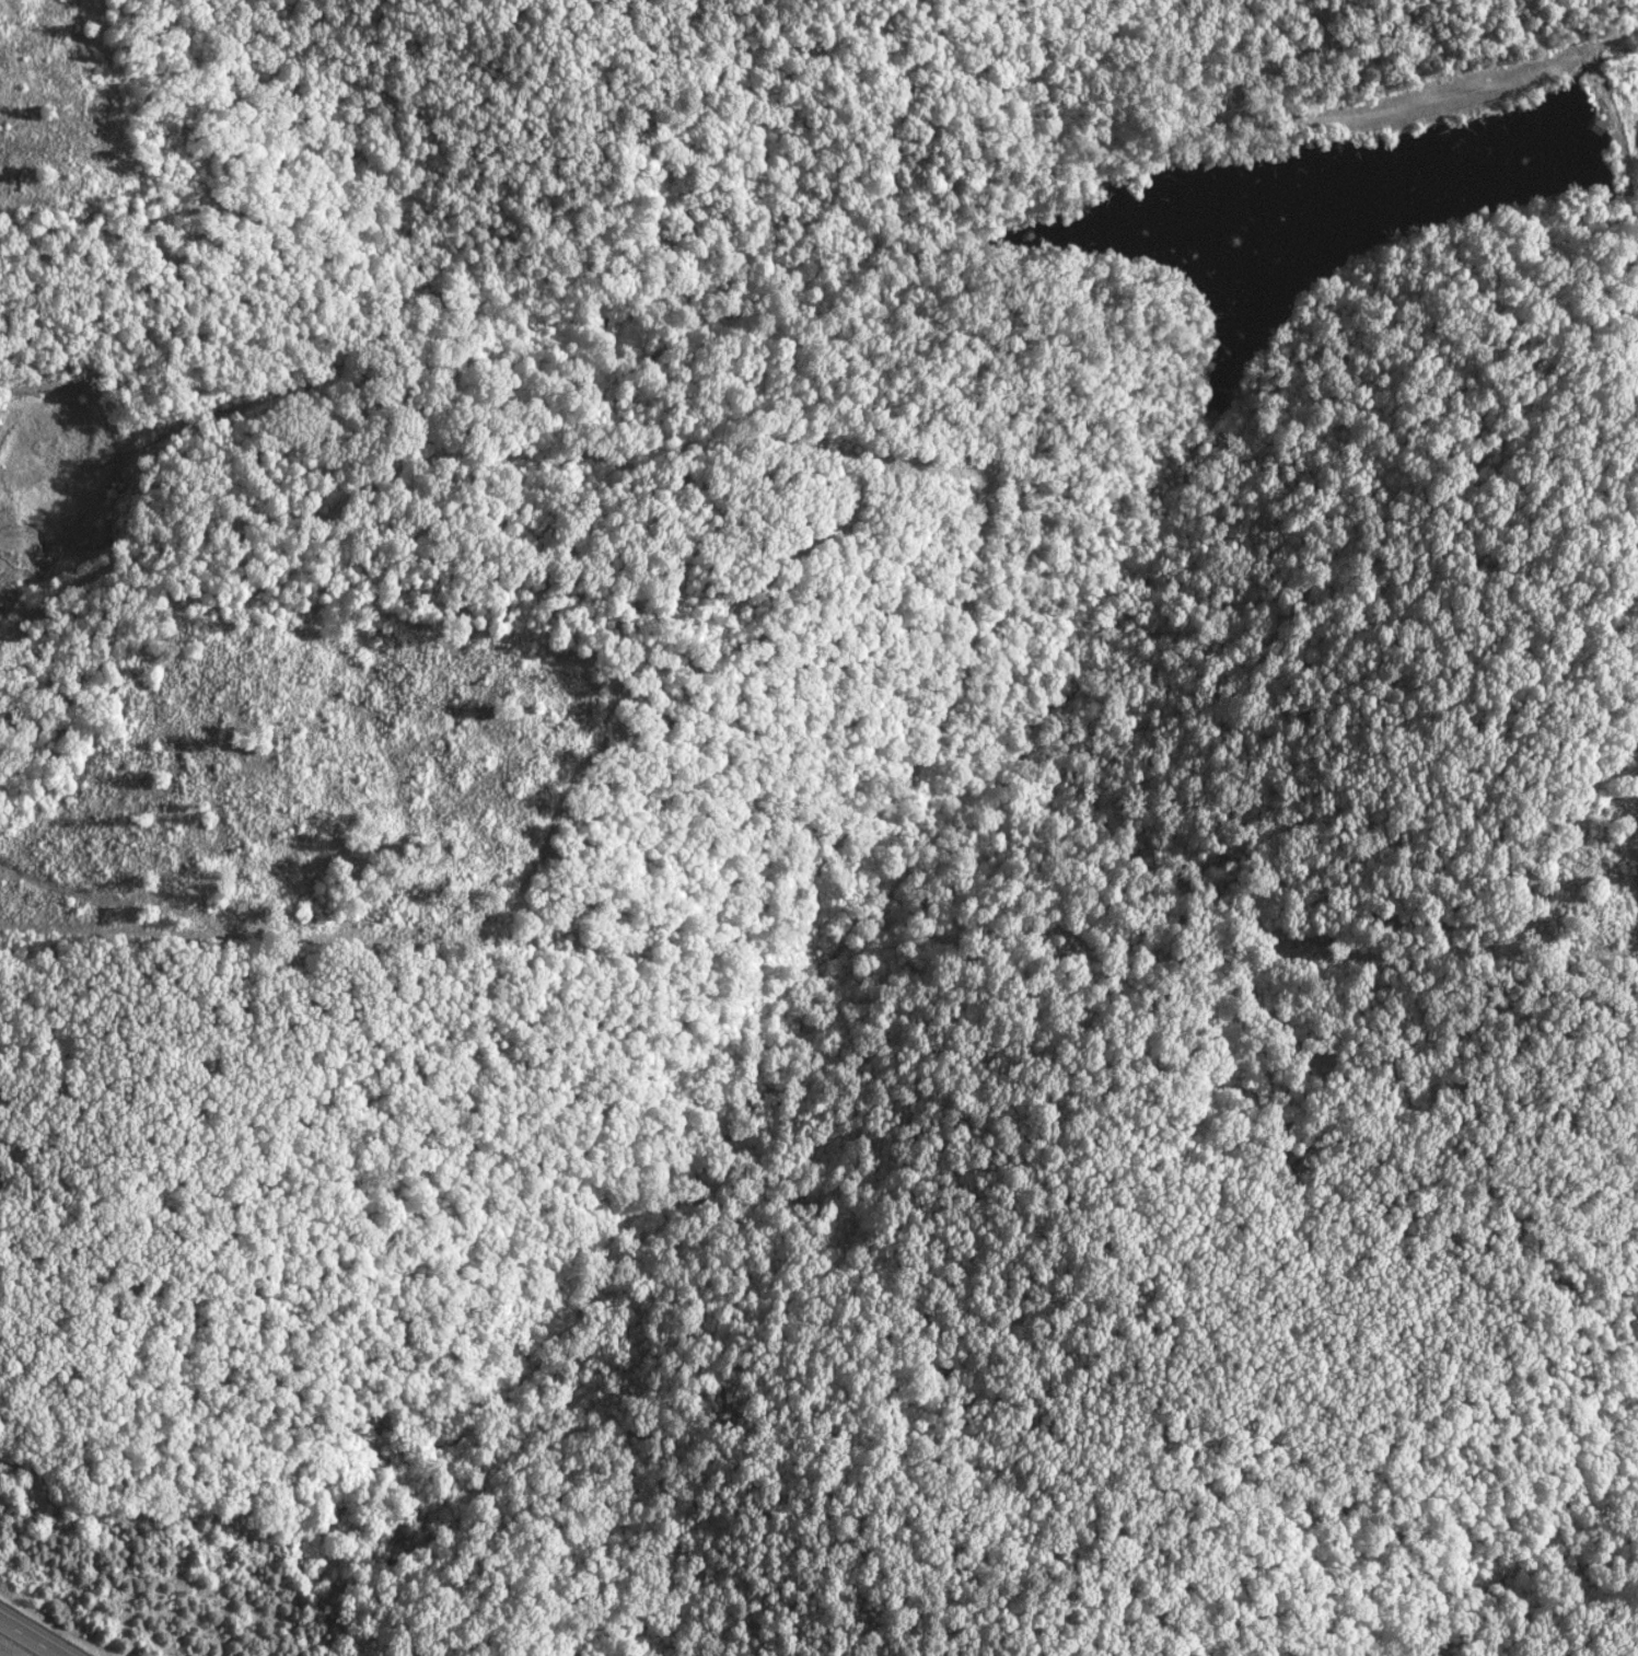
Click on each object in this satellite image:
quarry: (49, 491)
road: (26, 1640)

